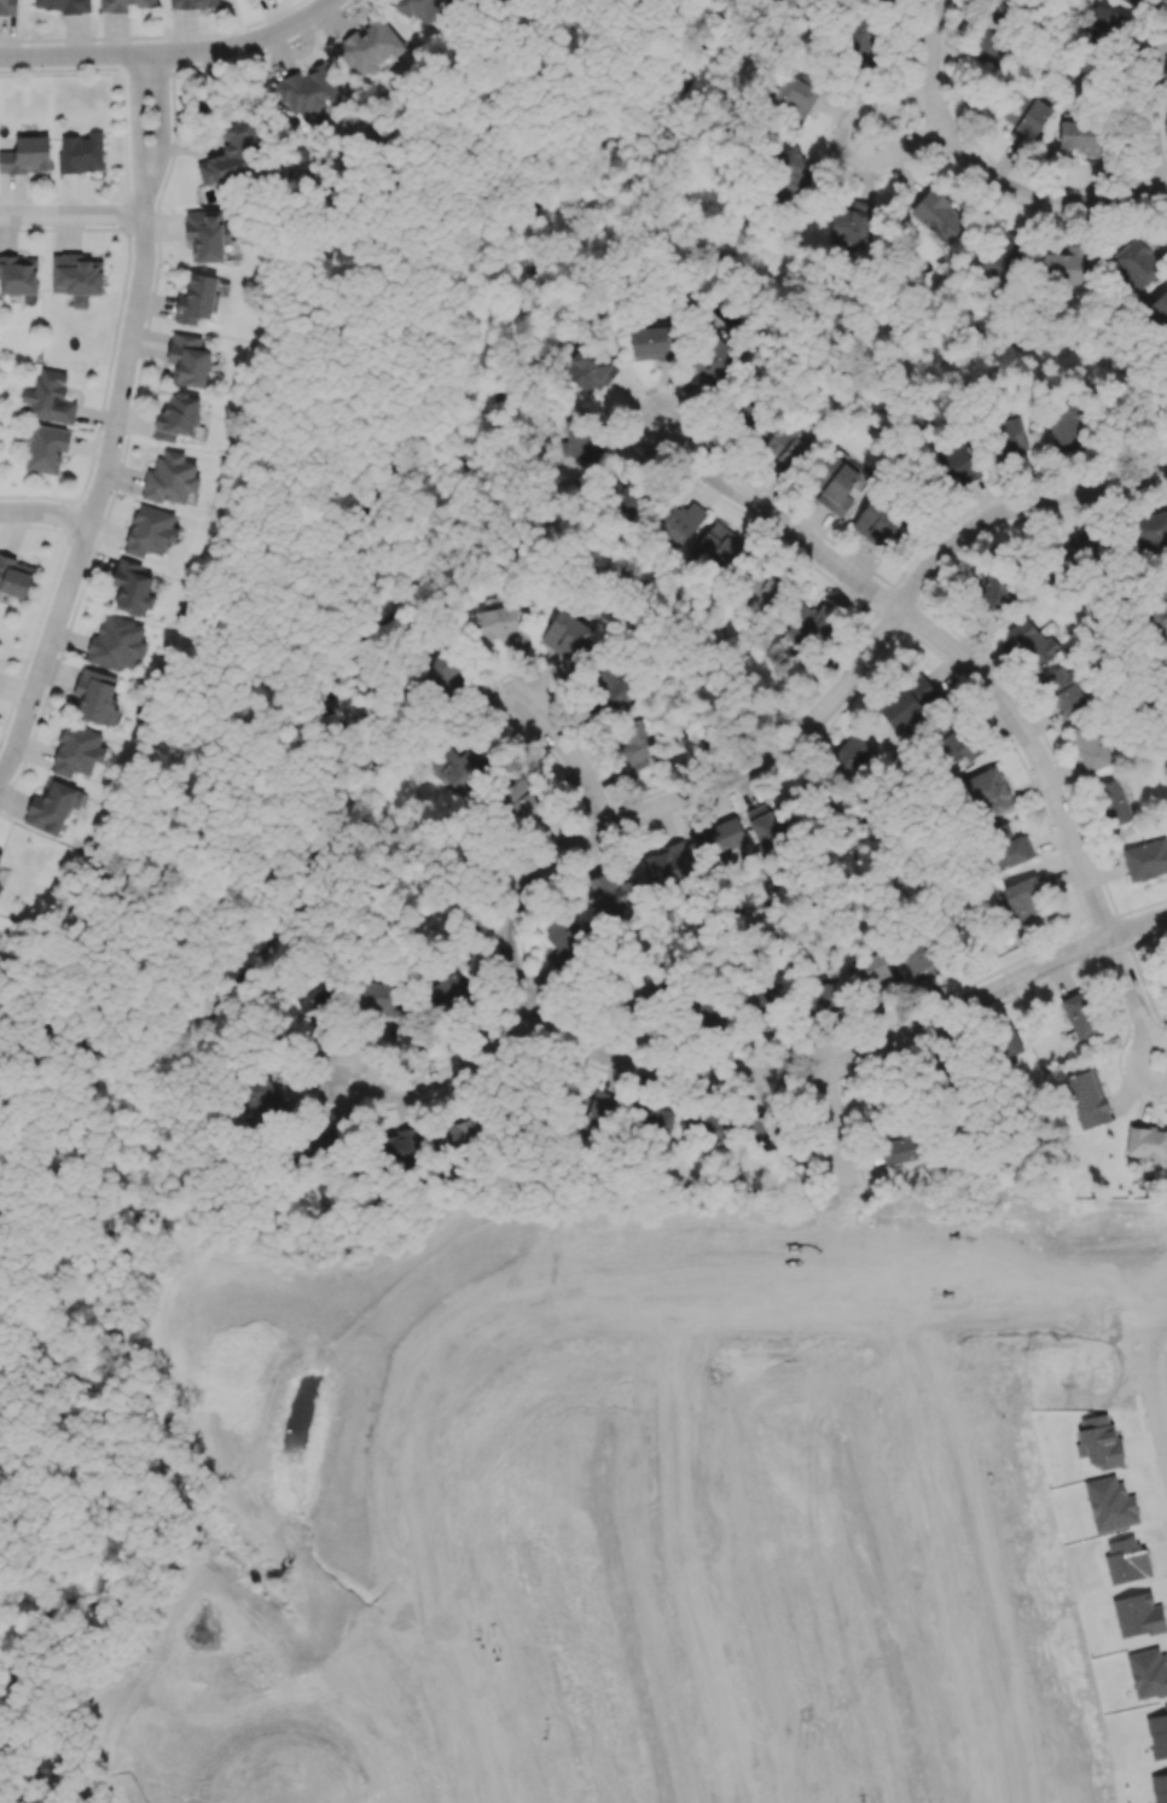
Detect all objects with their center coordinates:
building: (1126, 1)
building: (192, 4)
building: (64, 5)
building: (124, 5)
building: (8, 6)
building: (417, 7)
building: (1104, 25)
building: (860, 37)
building: (370, 46)
building: (988, 46)
road: (170, 52)
building: (307, 93)
building: (792, 97)
road: (1156, 117)
building: (1029, 120)
building: (1080, 135)
road: (846, 140)
building: (81, 152)
building: (27, 156)
building: (223, 165)
road: (145, 167)
building: (790, 169)
road: (980, 174)
road: (70, 214)
building: (937, 215)
building: (852, 223)
building: (205, 234)
building: (1003, 255)
building: (1066, 262)
building: (1138, 263)
building: (18, 274)
building: (77, 277)
building: (197, 298)
building: (1160, 306)
building: (652, 342)
building: (187, 359)
building: (713, 359)
building: (588, 368)
building: (50, 397)
building: (748, 412)
building: (176, 417)
building: (1063, 424)
building: (1009, 436)
building: (581, 437)
building: (45, 447)
building: (785, 447)
building: (962, 463)
building: (169, 478)
road: (103, 479)
building: (834, 484)
road: (45, 513)
building: (679, 520)
building: (876, 520)
road: (778, 522)
building: (1150, 529)
building: (150, 530)
building: (719, 548)
building: (1074, 549)
building: (14, 576)
building: (132, 587)
building: (760, 588)
building: (995, 589)
building: (1157, 610)
building: (501, 623)
building: (811, 624)
building: (565, 634)
building: (1032, 641)
building: (116, 644)
building: (1163, 656)
building: (447, 671)
building: (614, 688)
building: (1063, 690)
building: (95, 696)
building: (906, 702)
road: (807, 733)
building: (952, 741)
building: (635, 745)
building: (1091, 746)
building: (77, 750)
building: (853, 750)
road: (1034, 756)
road: (568, 761)
building: (458, 768)
building: (992, 793)
building: (521, 801)
building: (1114, 802)
building: (52, 805)
building: (764, 825)
building: (720, 839)
building: (1009, 847)
building: (0, 855)
building: (1145, 859)
building: (668, 862)
building: (611, 890)
building: (1024, 897)
building: (564, 940)
building: (918, 961)
building: (867, 971)
building: (445, 989)
building: (637, 993)
building: (310, 996)
building: (382, 996)
building: (760, 998)
building: (821, 998)
road: (1134, 1001)
building: (710, 1012)
building: (1080, 1013)
building: (1005, 1043)
road: (859, 1059)
road: (445, 1084)
building: (1086, 1099)
building: (599, 1105)
building: (650, 1118)
building: (708, 1127)
road: (829, 1129)
building: (765, 1130)
building: (1146, 1142)
building: (317, 1145)
building: (400, 1146)
building: (901, 1150)
road: (1156, 1314)
road: (1155, 1382)

